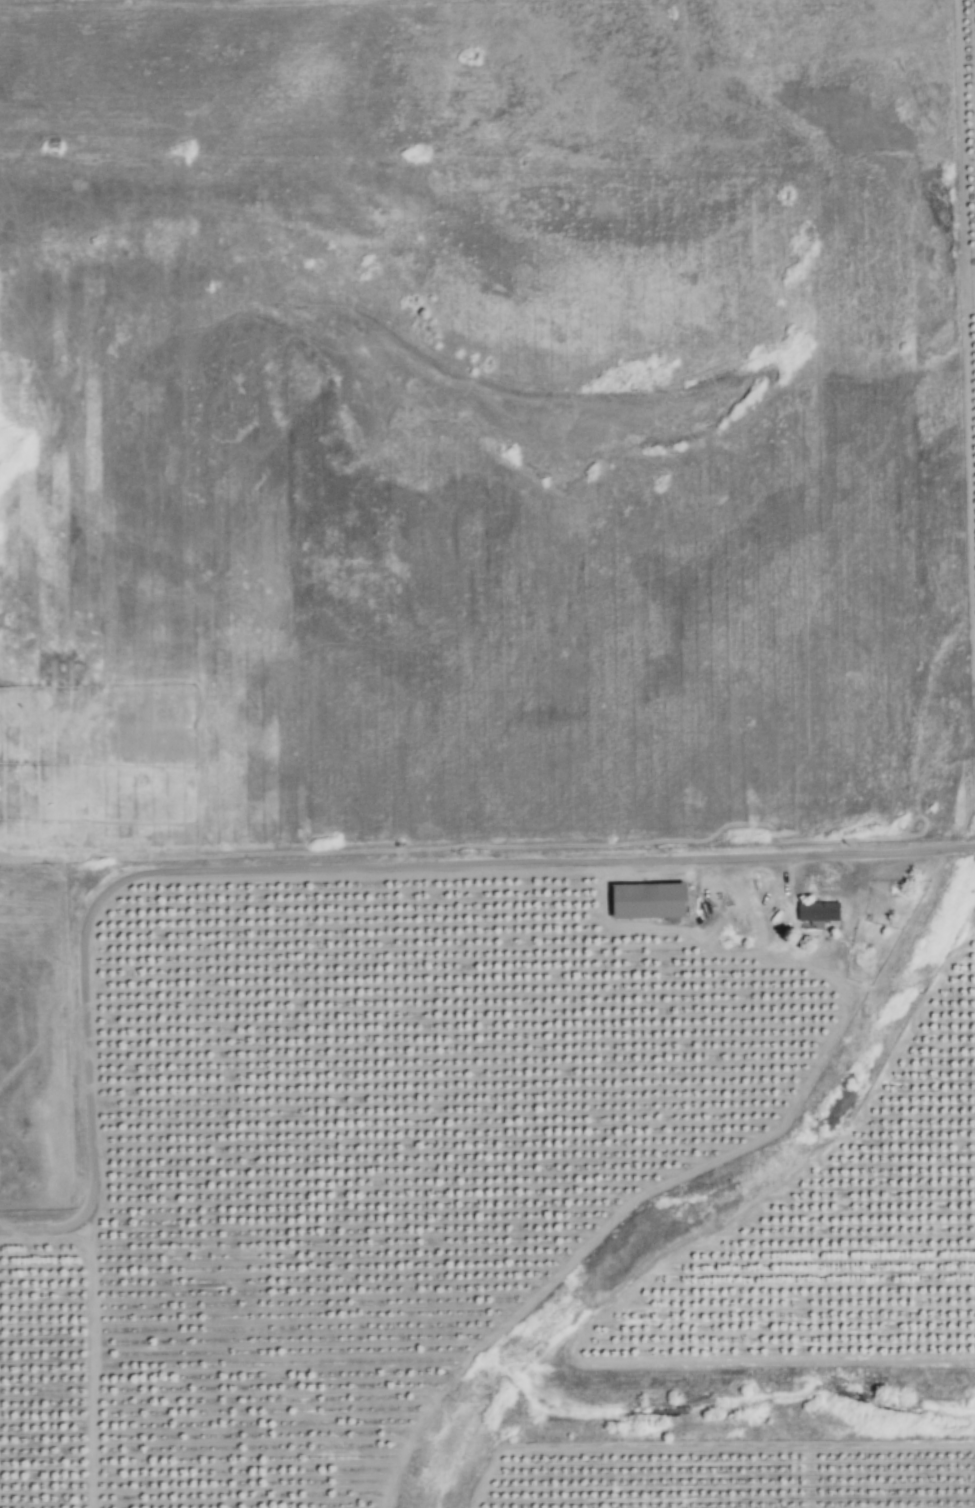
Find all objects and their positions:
road: (328, 864)
building: (645, 902)
building: (817, 914)

